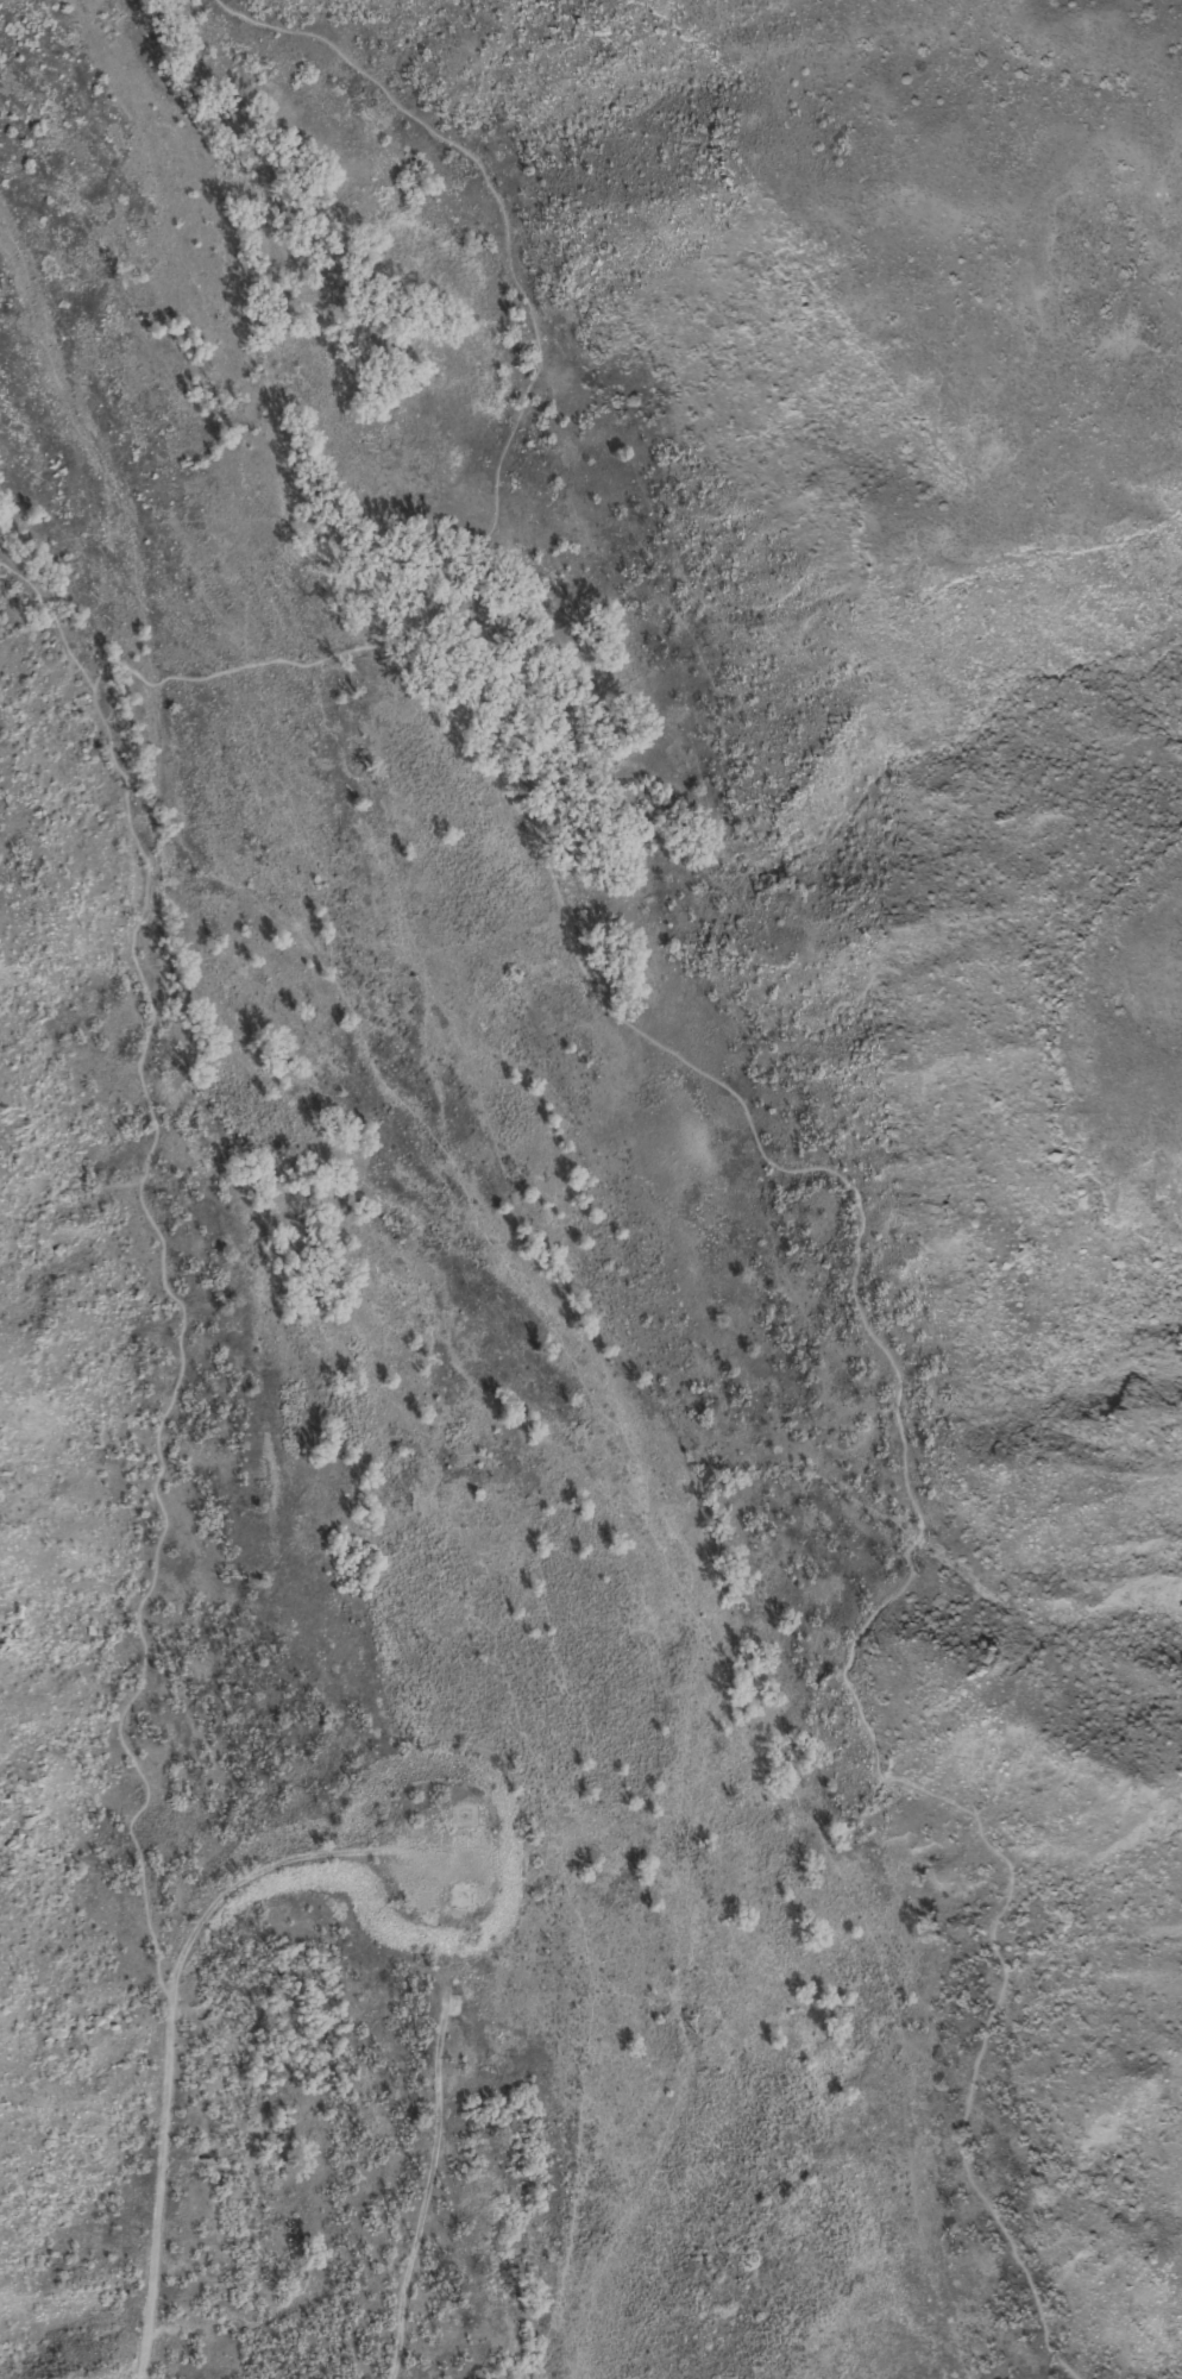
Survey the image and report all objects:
road: (177, 2041)

